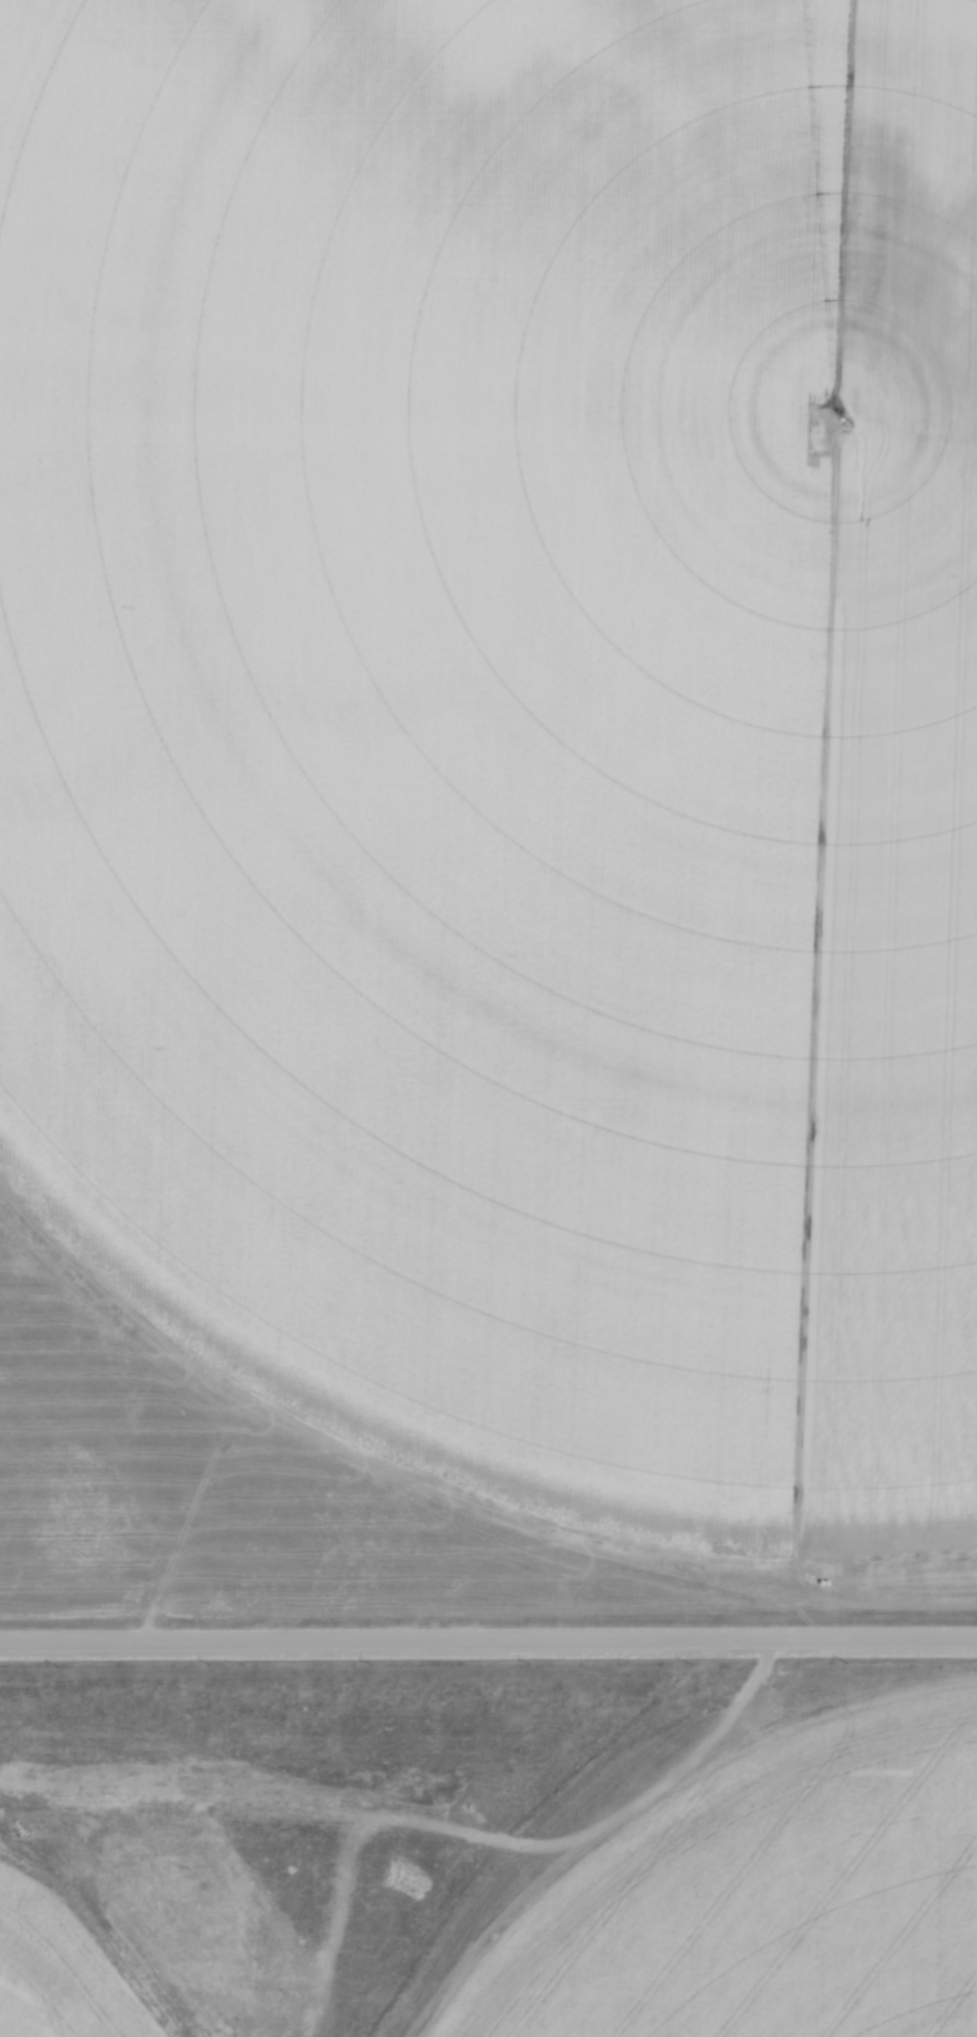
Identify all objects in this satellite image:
road: (488, 1639)

